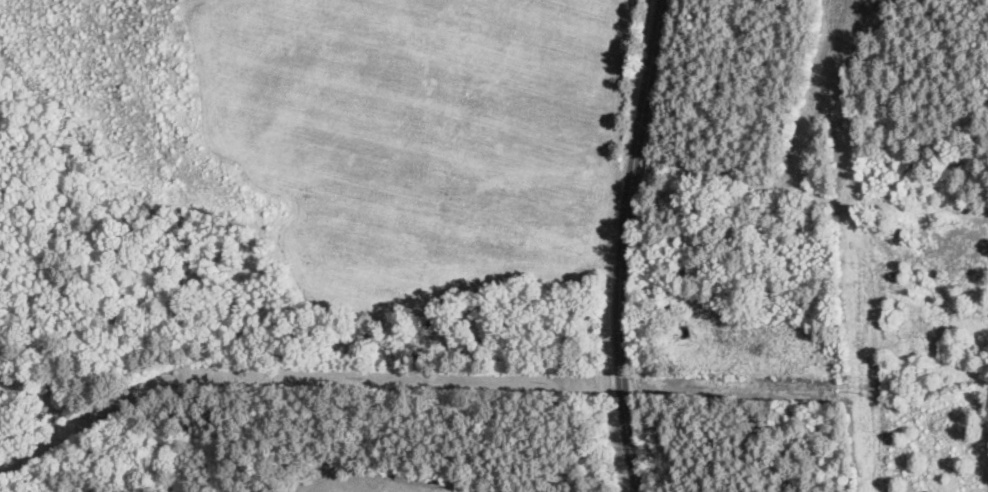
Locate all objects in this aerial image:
road: (624, 245)

